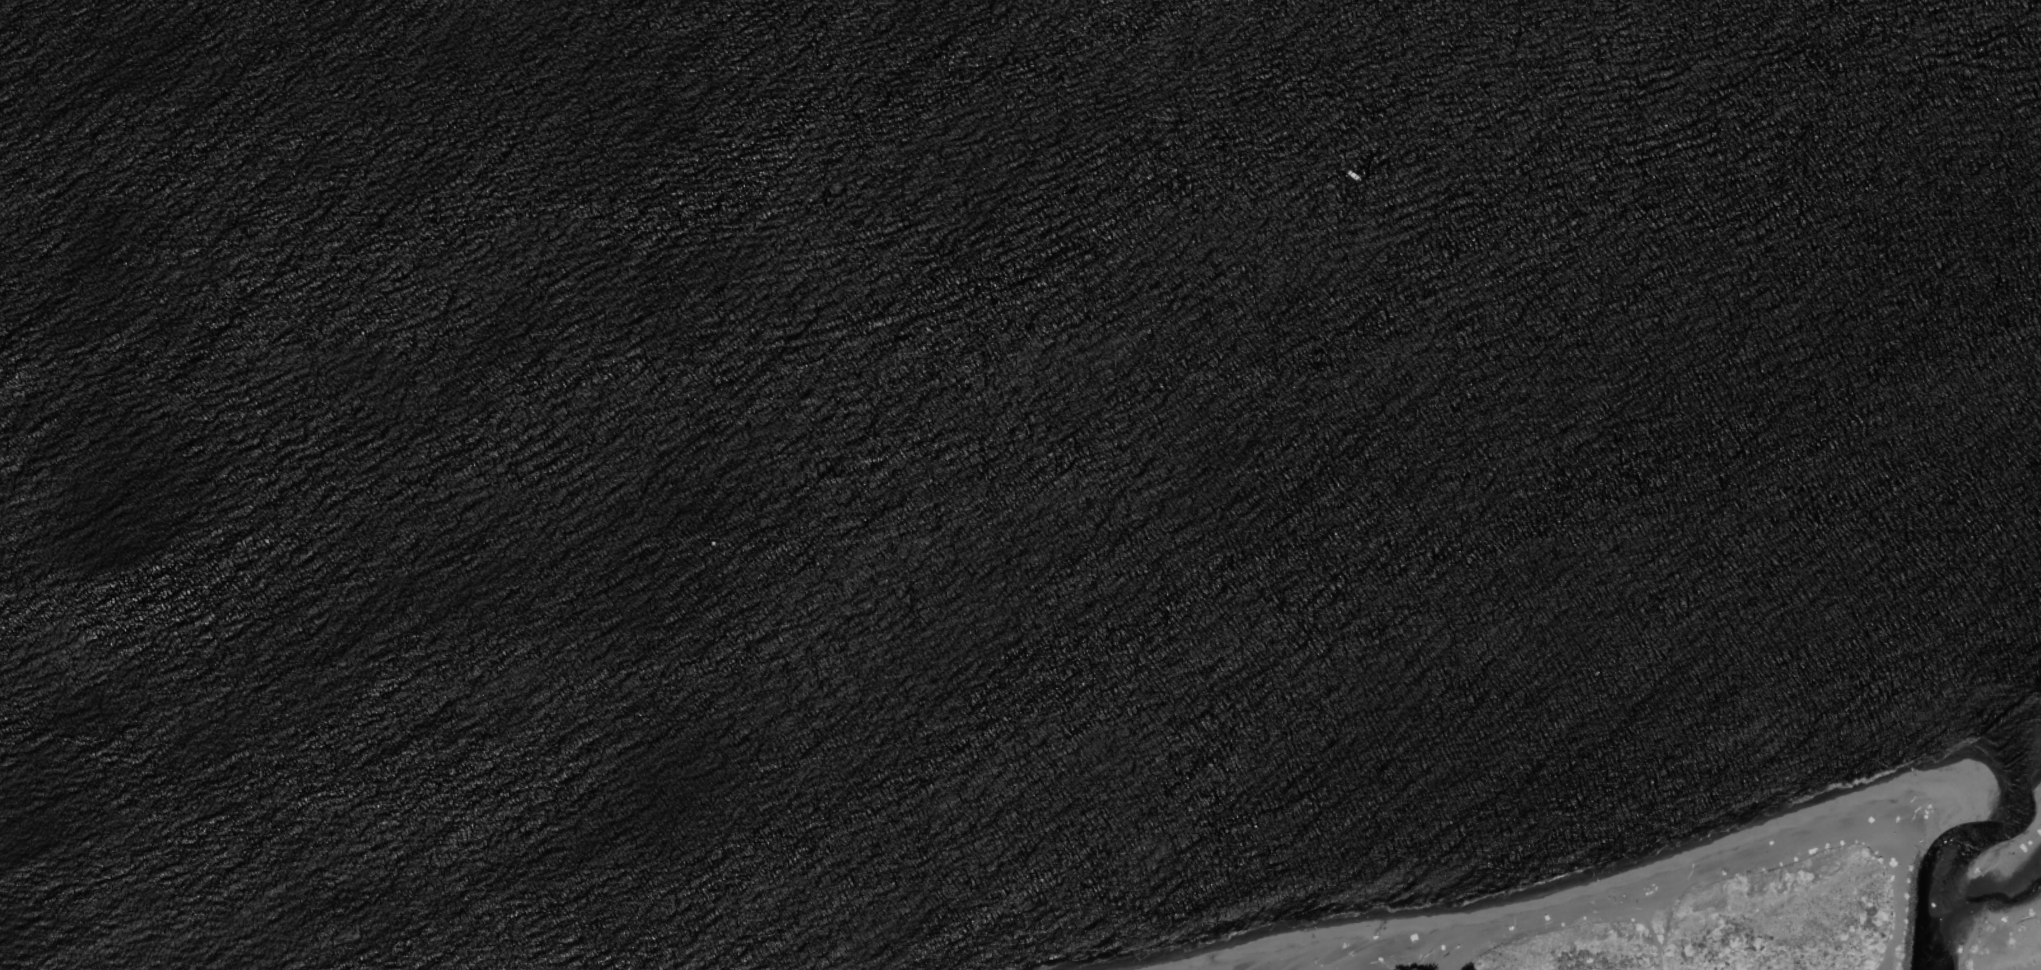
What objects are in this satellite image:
park: (1686, 901)
road: (1894, 916)
park: (2002, 937)
road: (1659, 957)

